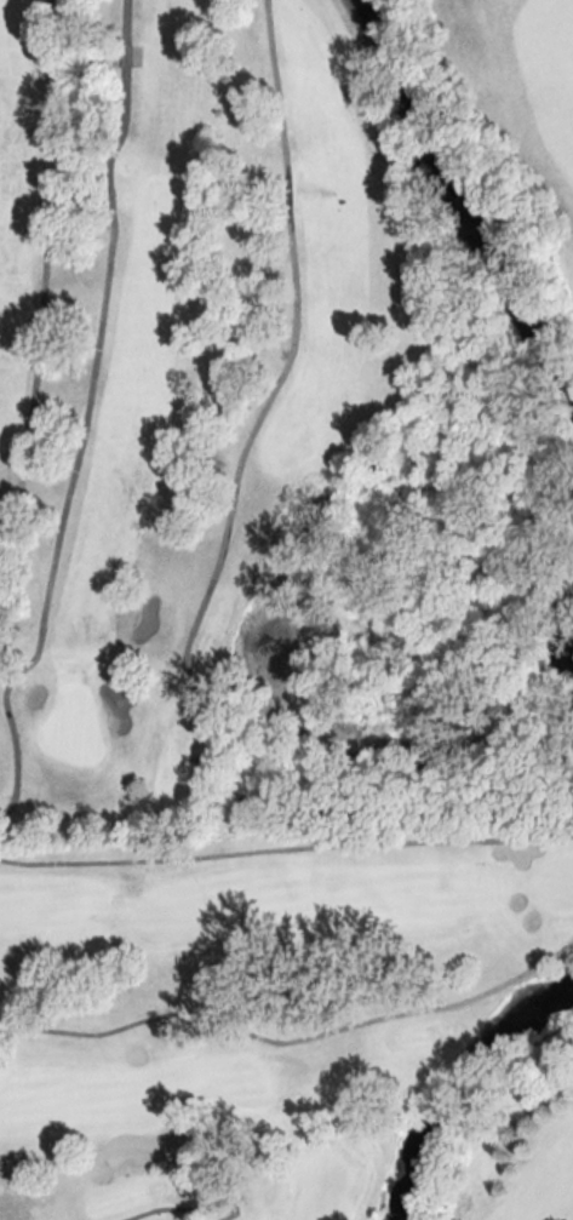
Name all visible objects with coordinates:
road: (40, 294)
road: (276, 377)
road: (84, 414)
park: (286, 416)
road: (369, 811)
park: (287, 1025)

